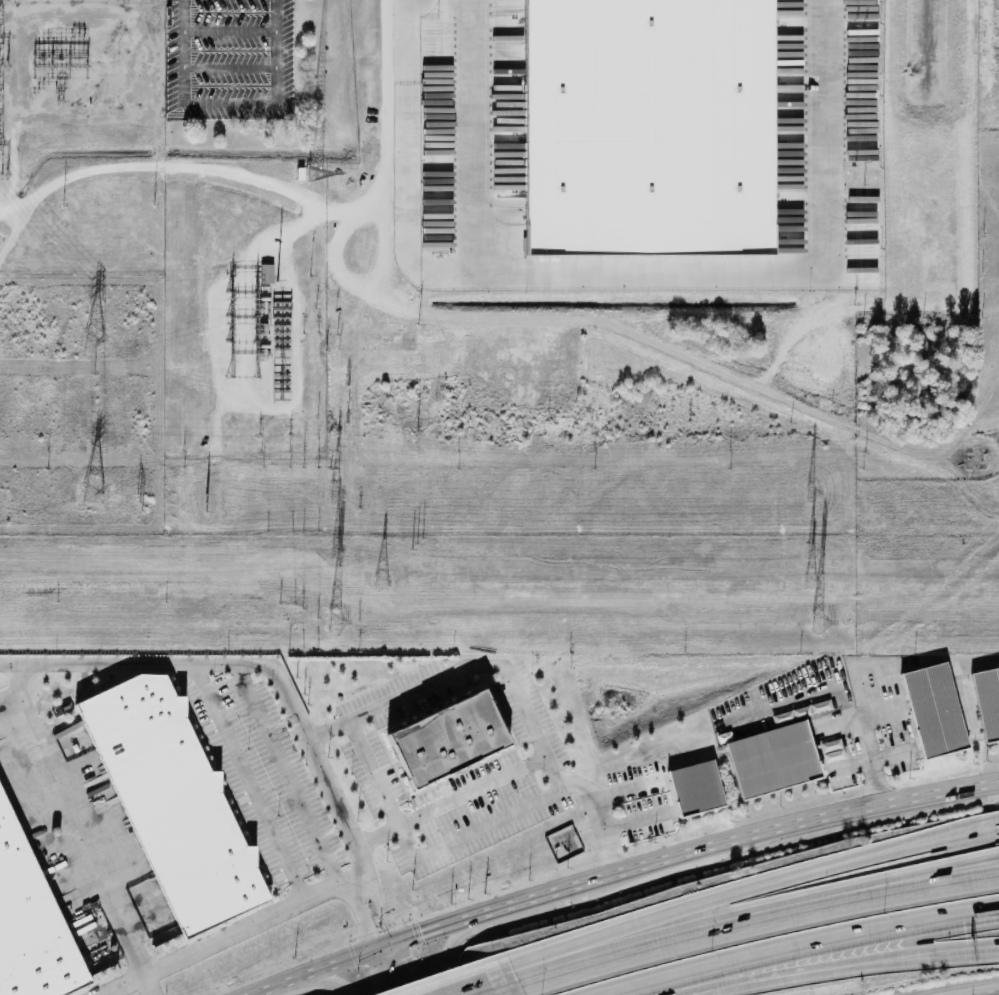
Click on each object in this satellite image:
road: (231, 31)
road: (231, 68)
power tower: (60, 101)
road: (231, 103)
building: (647, 127)
road: (387, 129)
power substation: (167, 226)
power plant: (501, 234)
road: (385, 237)
building: (268, 272)
road: (648, 275)
power tower: (95, 341)
road: (652, 345)
road: (786, 346)
power tower: (95, 493)
power tower: (334, 493)
power tower: (811, 494)
power tower: (140, 502)
power tower: (207, 503)
power tower: (812, 551)
power tower: (334, 552)
power tower: (810, 581)
power tower: (381, 582)
power tower: (818, 625)
power tower: (336, 626)
road: (12, 663)
road: (24, 666)
road: (455, 672)
building: (990, 702)
building: (939, 711)
road: (838, 721)
road: (860, 723)
building: (456, 740)
building: (779, 761)
road: (250, 782)
building: (701, 789)
road: (452, 800)
building: (179, 803)
road: (790, 826)
road: (887, 845)
road: (421, 855)
road: (889, 856)
road: (894, 878)
road: (360, 881)
road: (363, 886)
road: (896, 896)
road: (524, 904)
building: (33, 920)
traffic signals: (365, 922)
road: (645, 923)
road: (249, 926)
traffic signals: (419, 930)
road: (807, 946)
traffic signals: (400, 948)
road: (658, 948)
road: (352, 952)
road: (937, 954)
road: (446, 955)
road: (937, 959)
road: (408, 966)
road: (381, 970)
road: (784, 975)
road: (332, 978)
road: (470, 980)
road: (121, 985)
road: (146, 985)
road: (515, 992)

